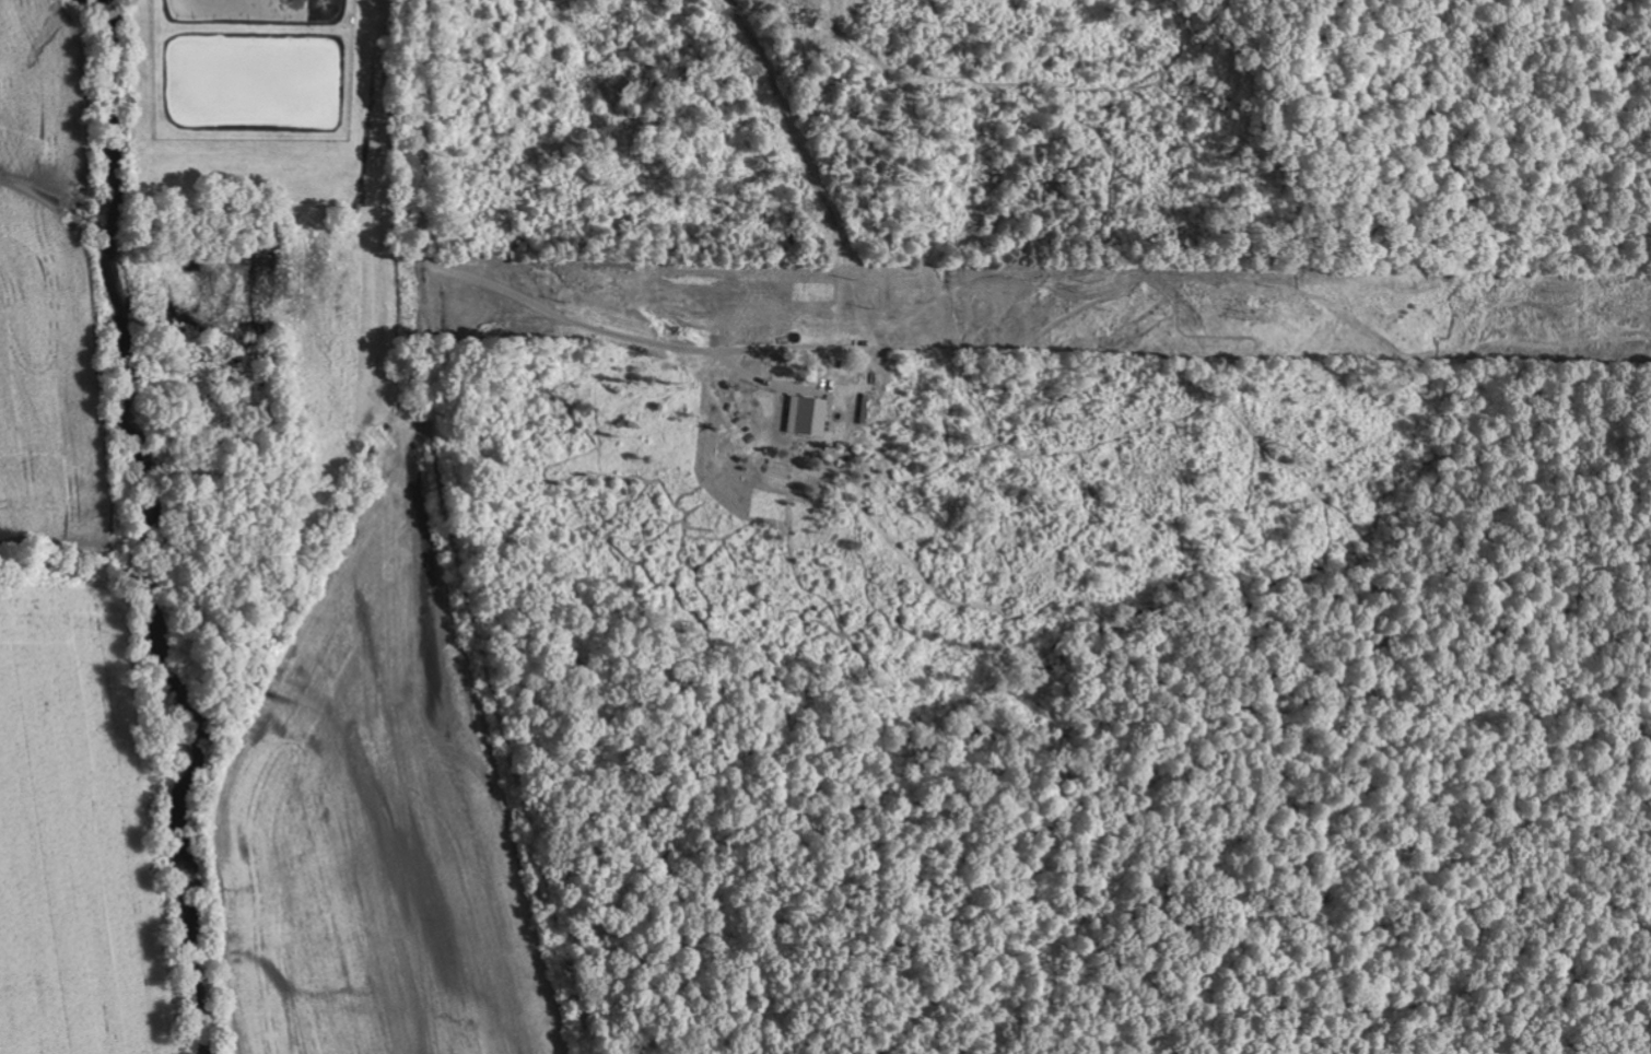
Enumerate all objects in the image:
building: (810, 417)

